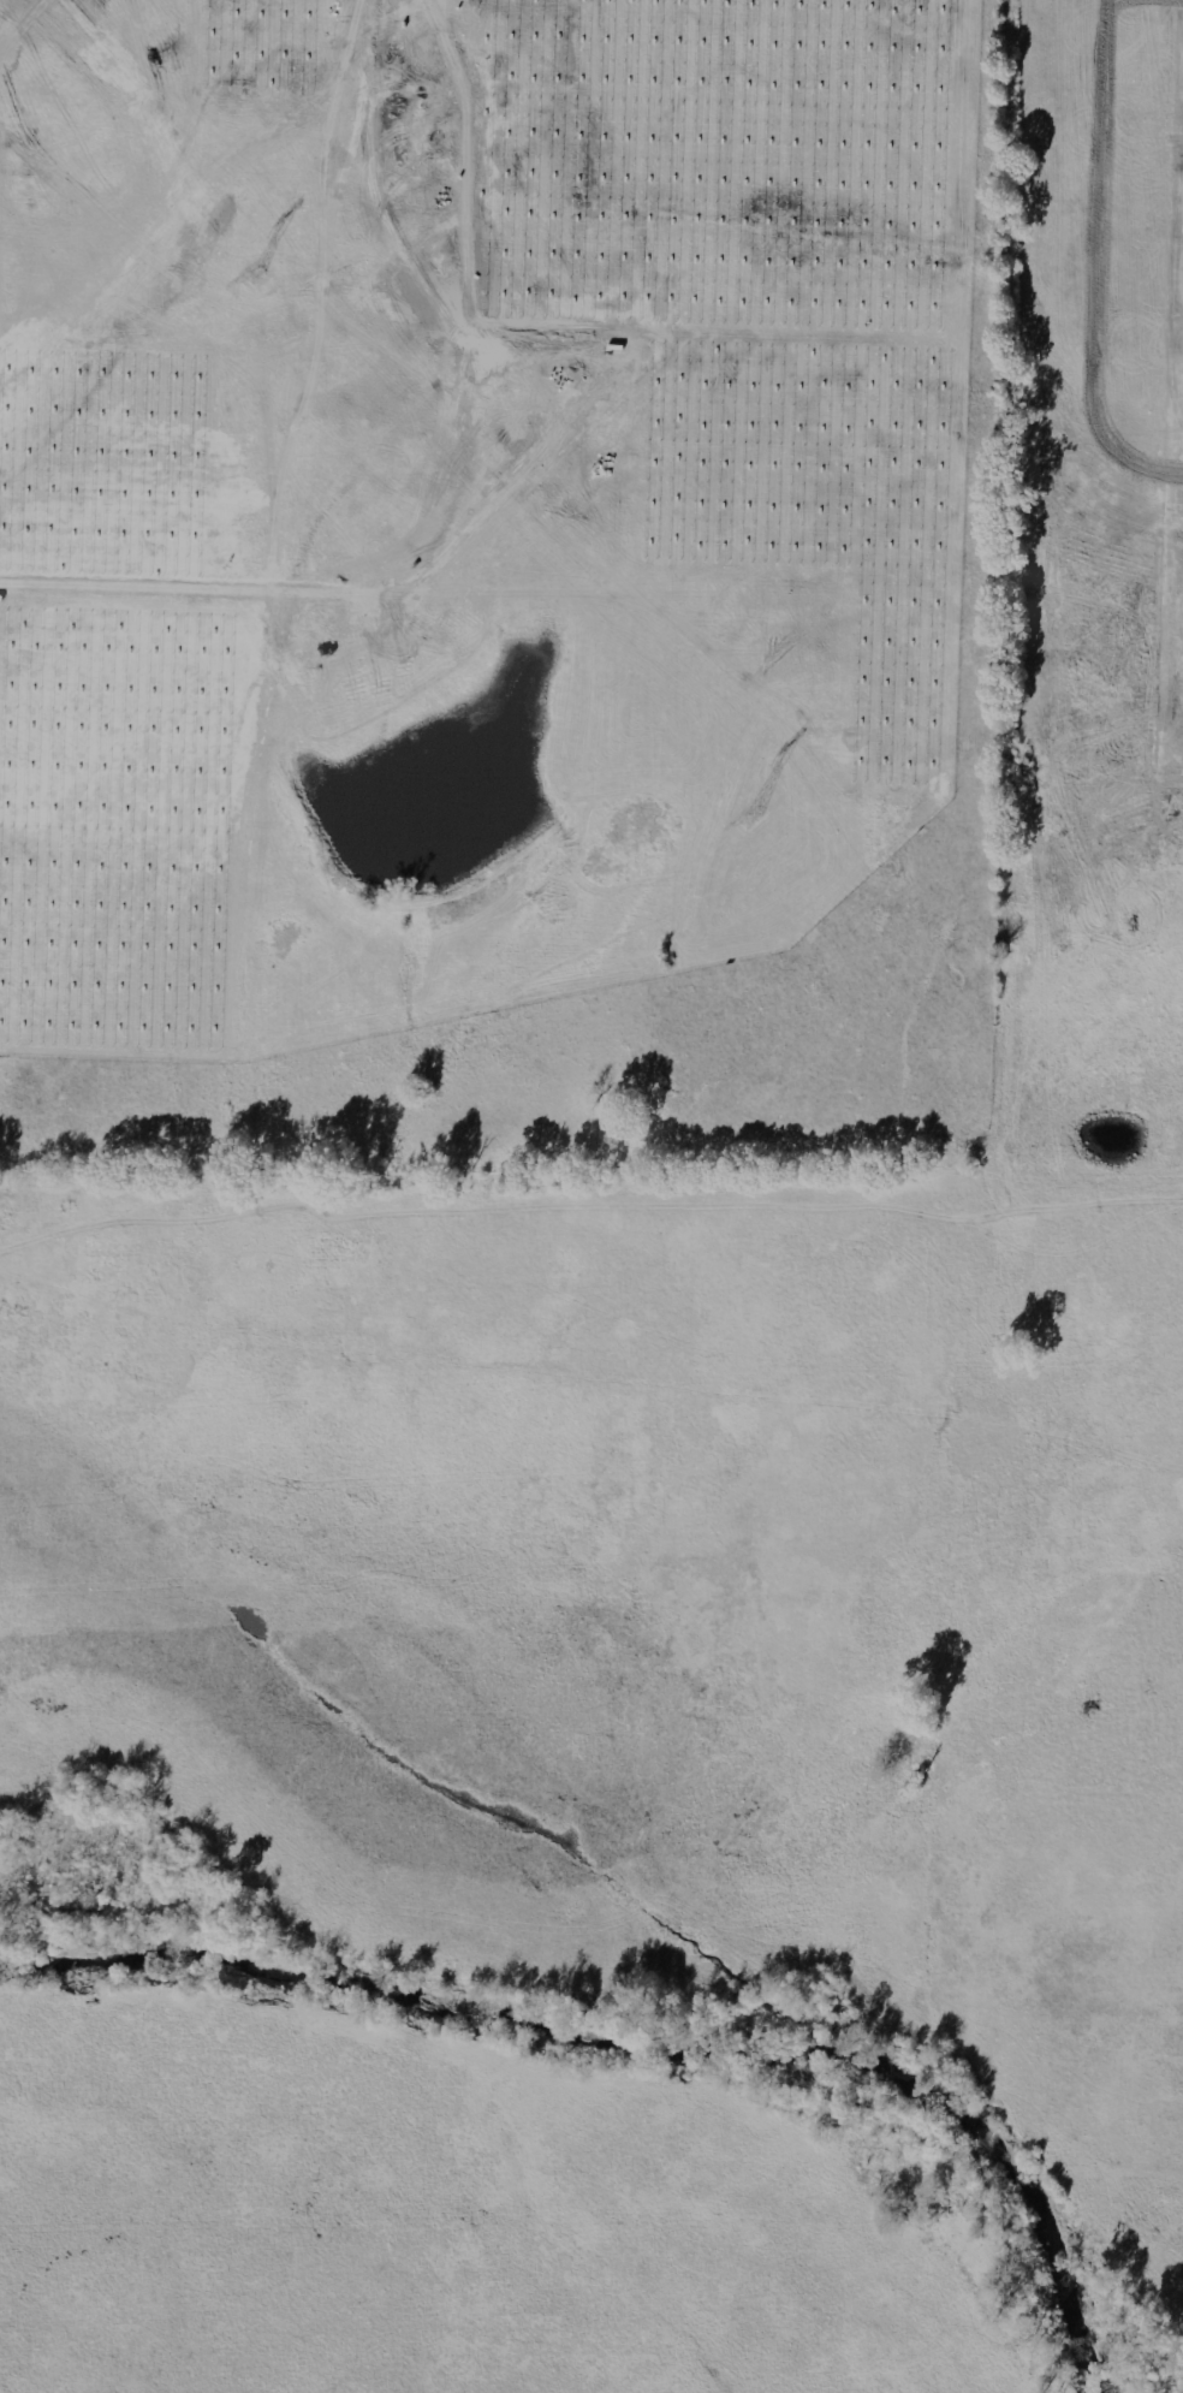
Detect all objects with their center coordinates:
power tower: (258, 278)
solar farm: (465, 498)
power tower: (753, 818)

